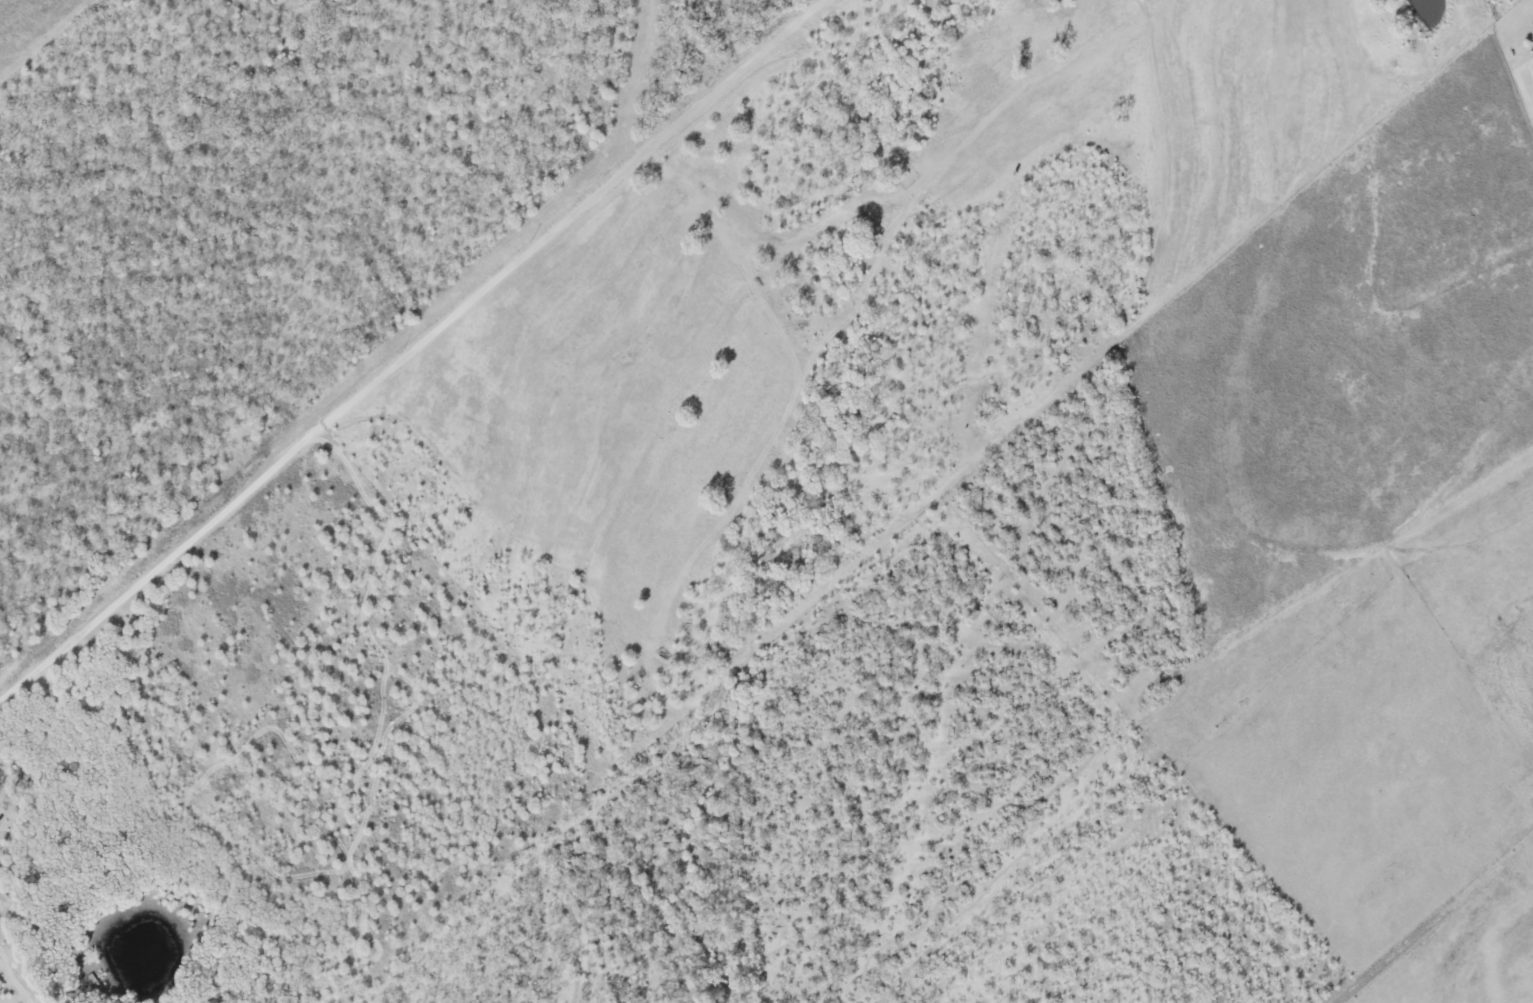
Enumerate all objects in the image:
road: (412, 352)

